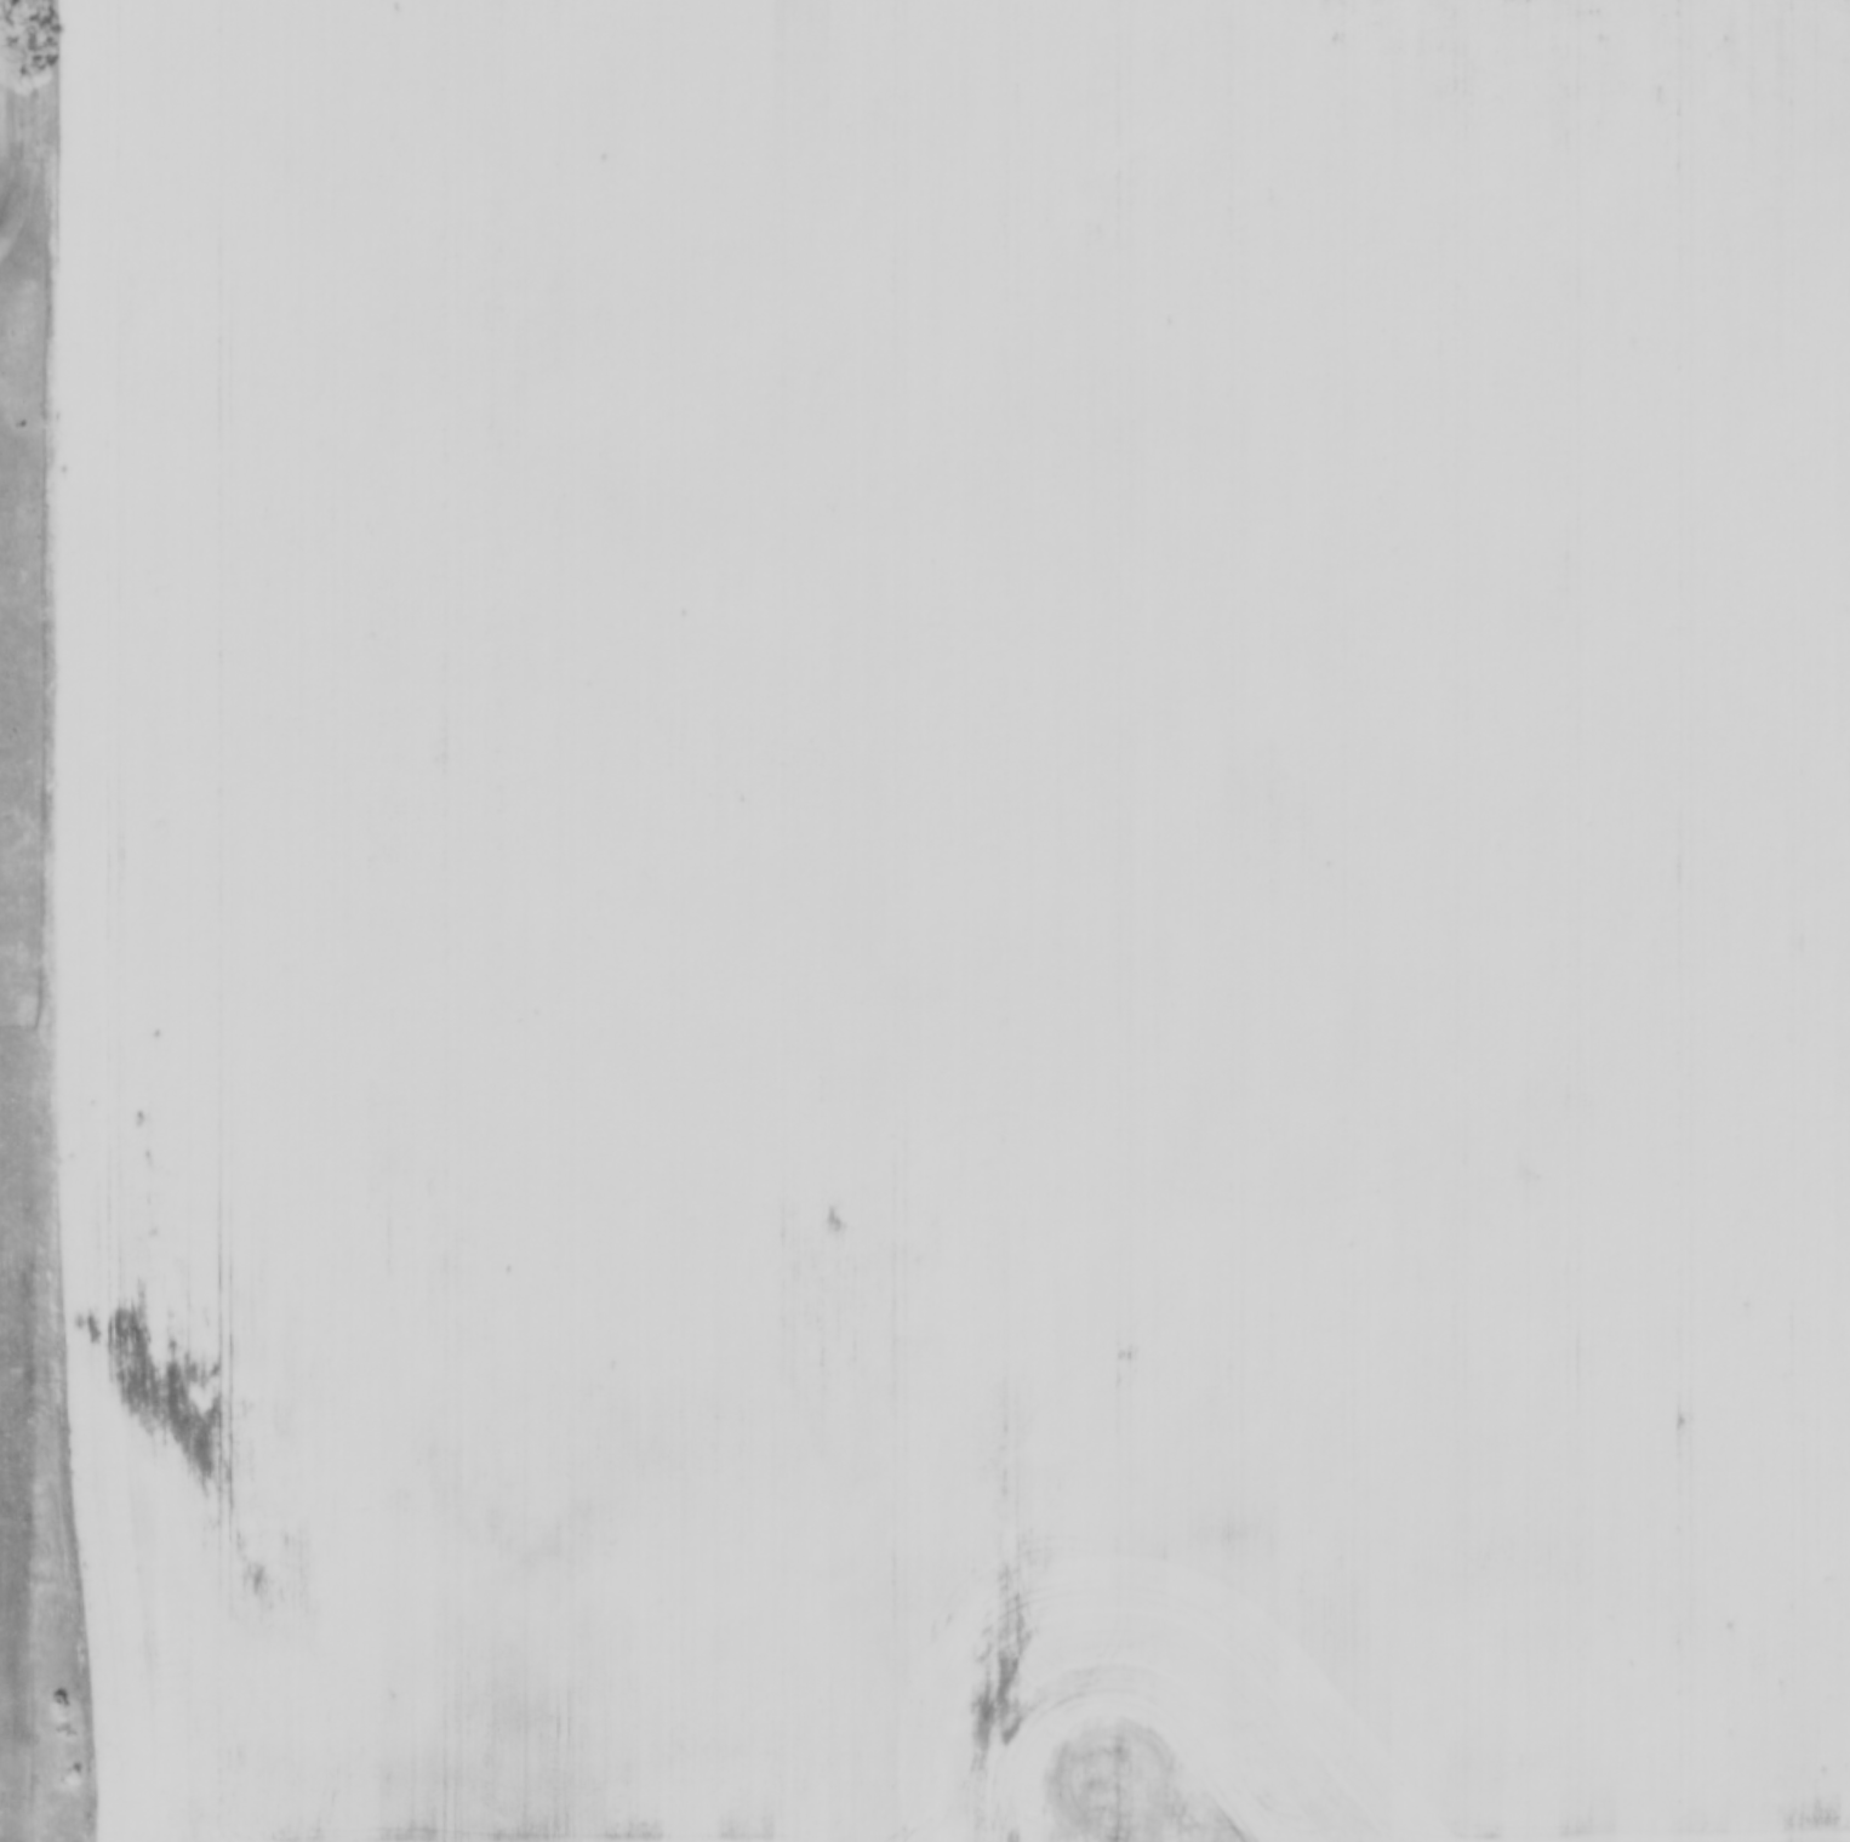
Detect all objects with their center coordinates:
road: (21, 102)

